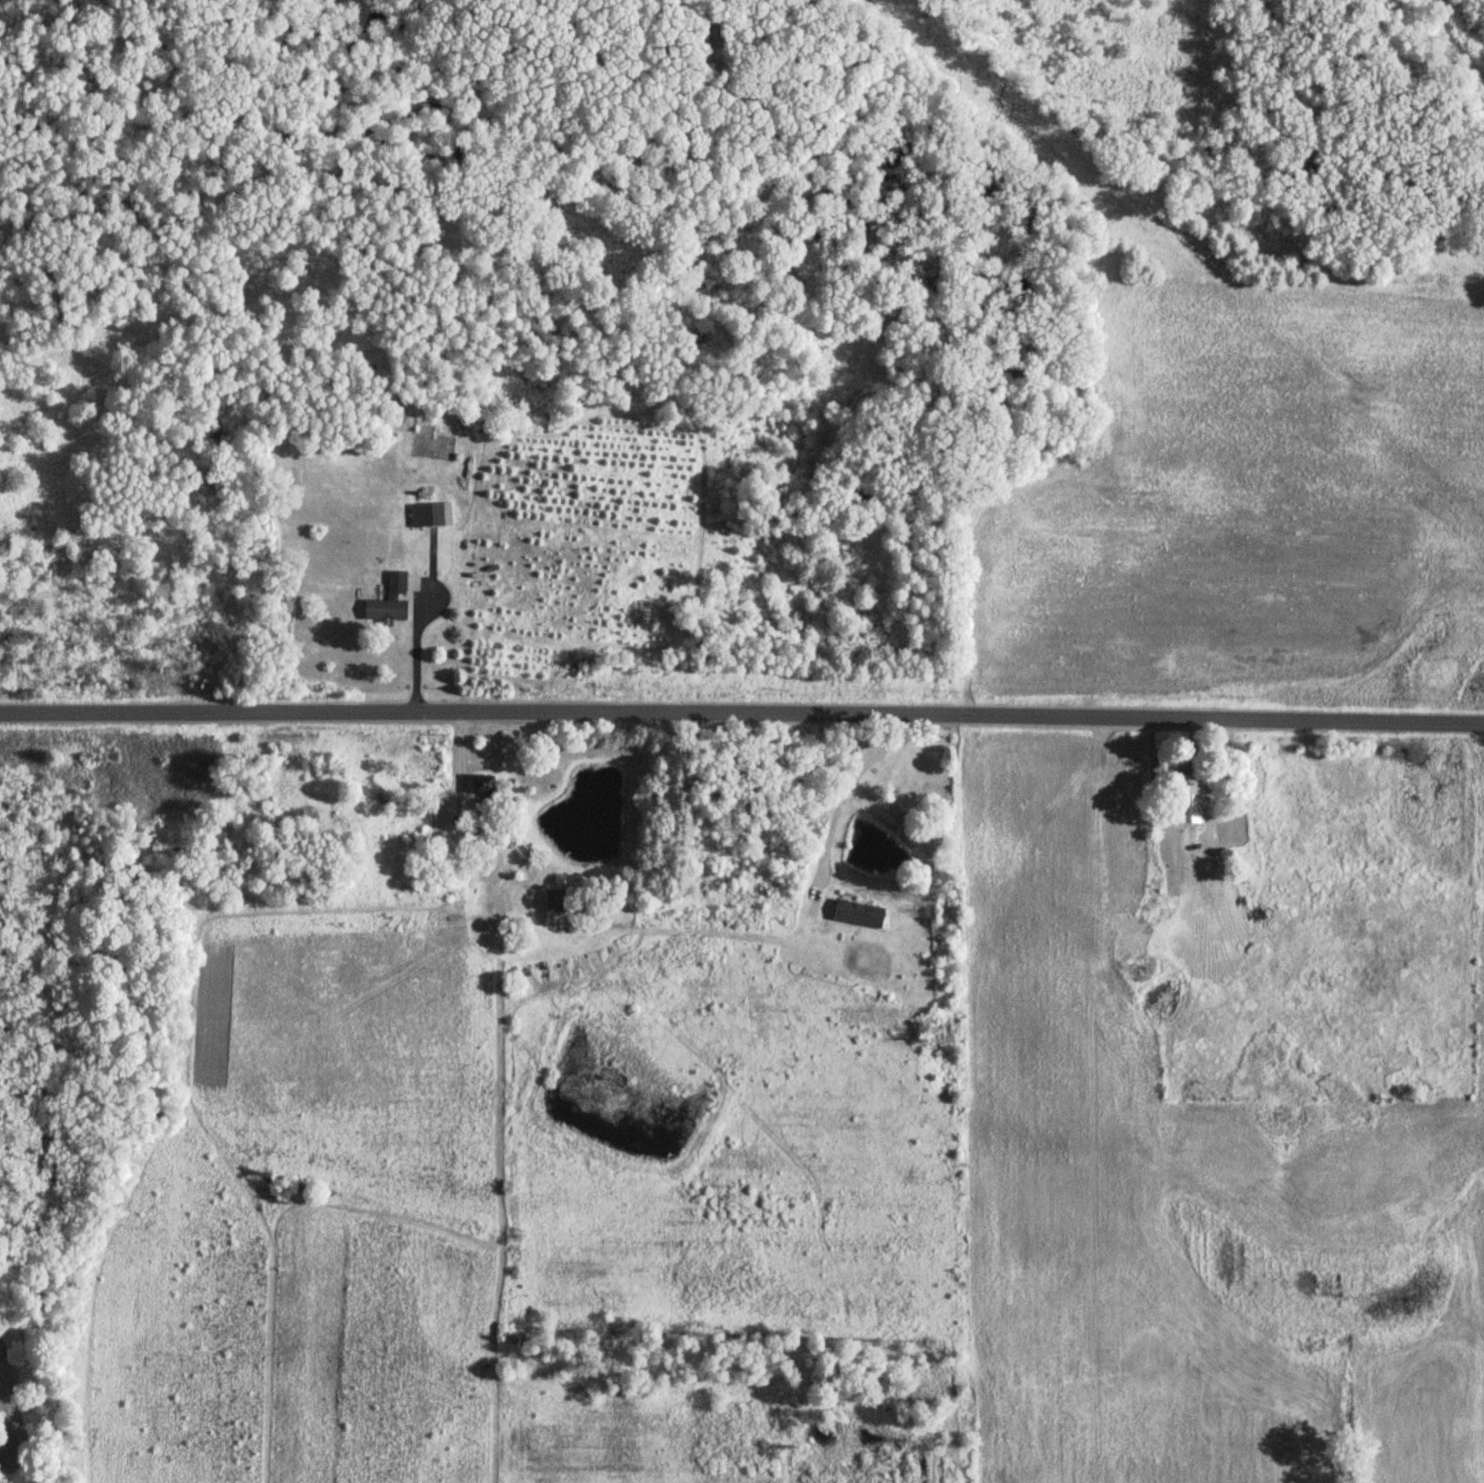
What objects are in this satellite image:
building: (425, 516)
building: (387, 602)
road: (742, 709)
road: (846, 780)
building: (479, 786)
building: (1190, 800)
building: (554, 901)
building: (856, 914)
building: (1202, 923)

